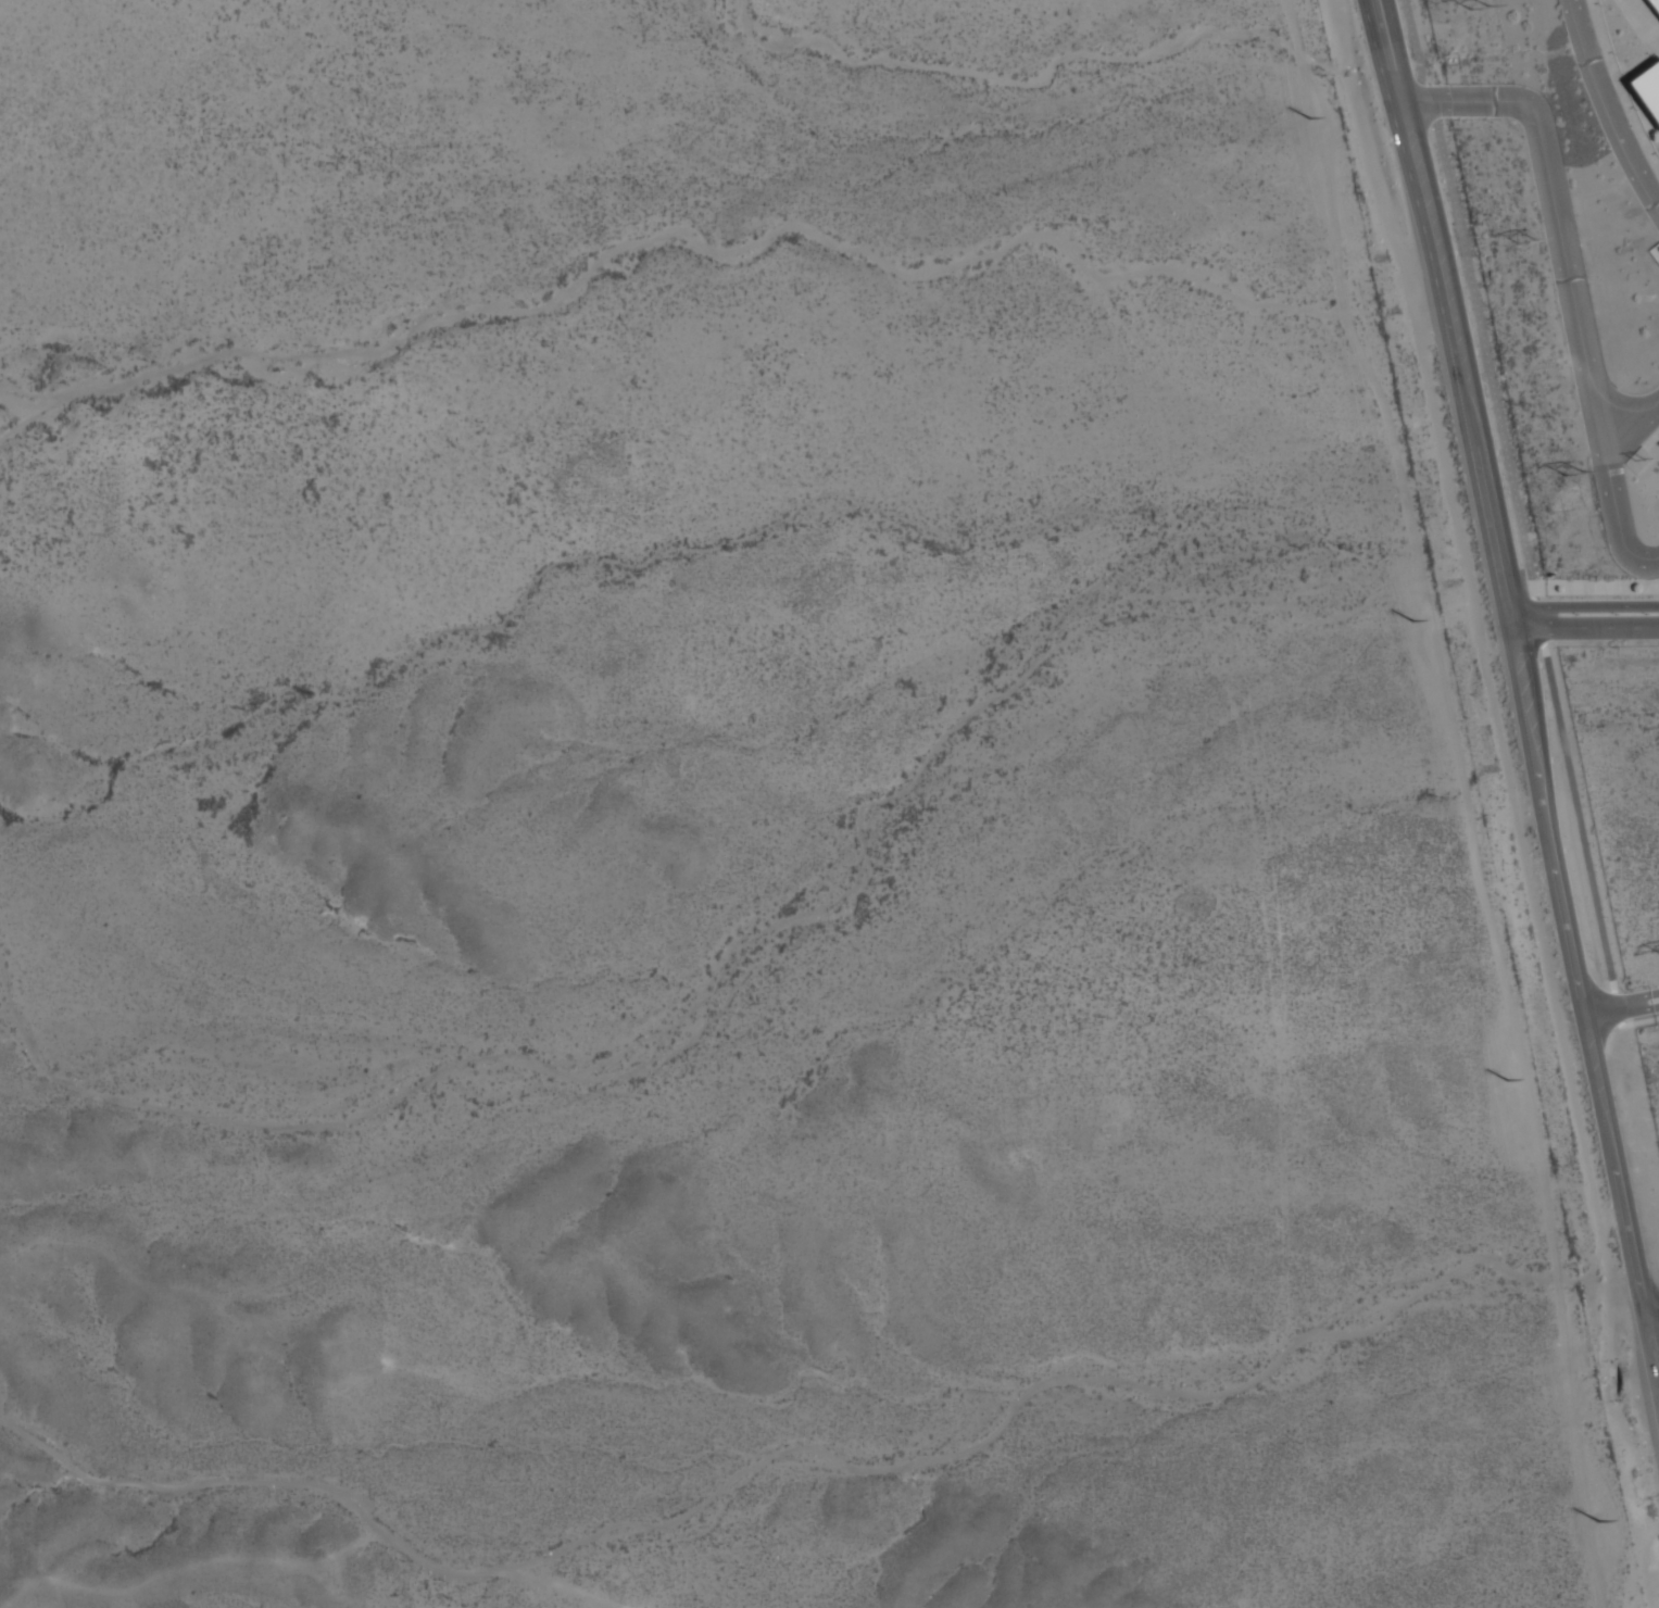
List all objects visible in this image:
building: (1655, 4)
power tower: (1479, 7)
building: (1648, 87)
road: (1606, 108)
power tower: (1310, 116)
road: (1555, 221)
power tower: (1526, 242)
power tower: (1639, 460)
power tower: (1575, 476)
road: (1610, 479)
road: (1513, 492)
road: (1582, 607)
power tower: (1415, 619)
road: (1584, 629)
road: (1521, 689)
road: (1622, 1007)
power tower: (1509, 1079)
road: (1651, 1304)
road: (1654, 1322)
power tower: (1600, 1519)

